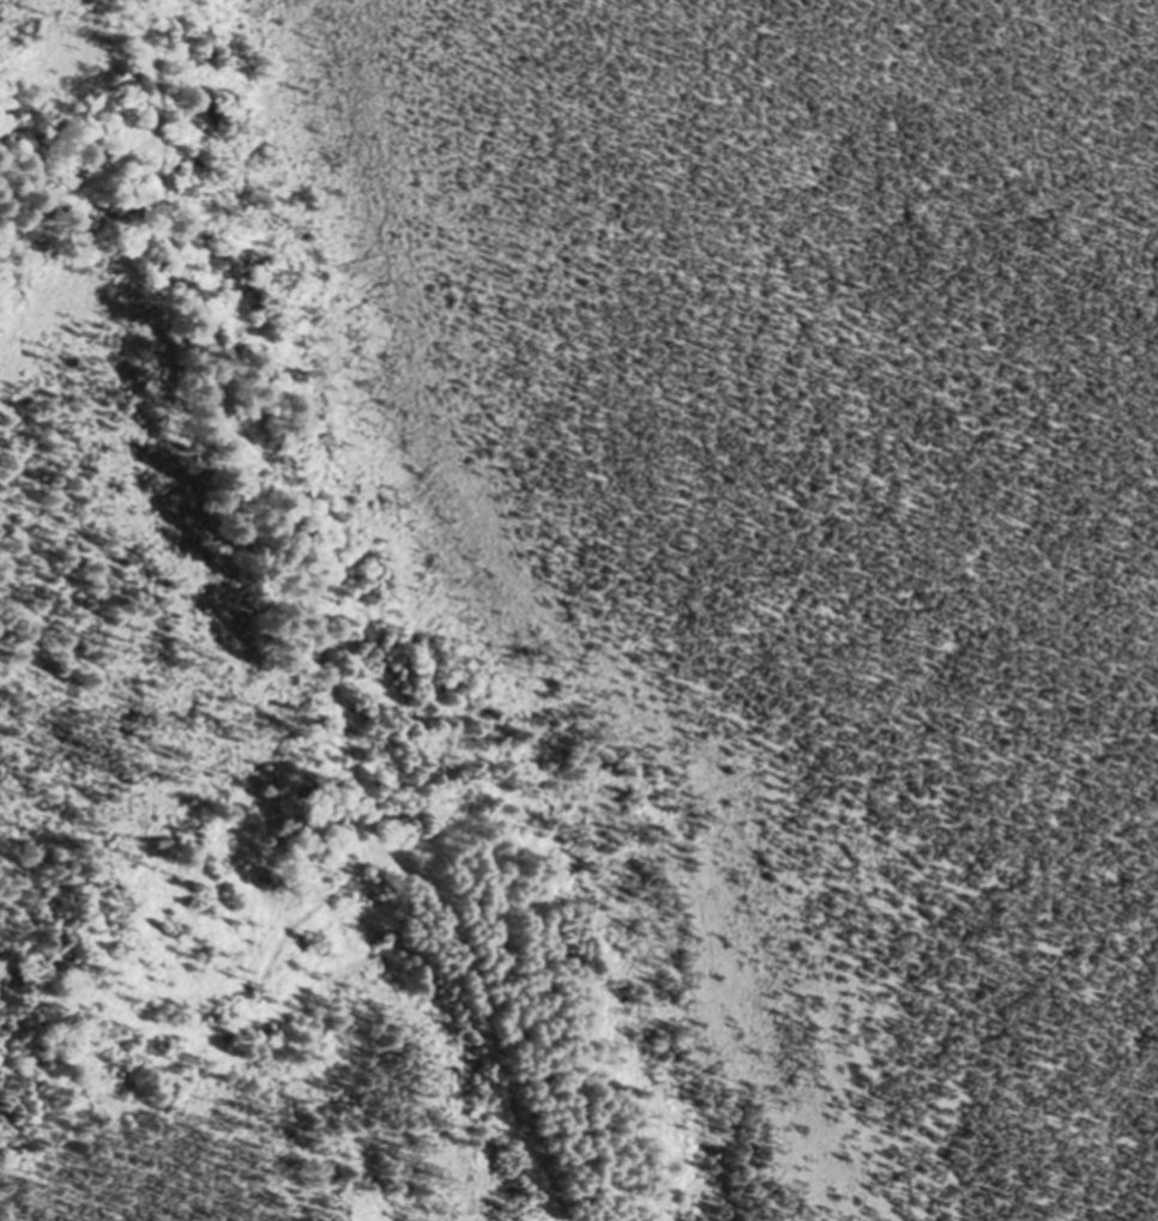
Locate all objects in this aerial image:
road: (355, 618)

